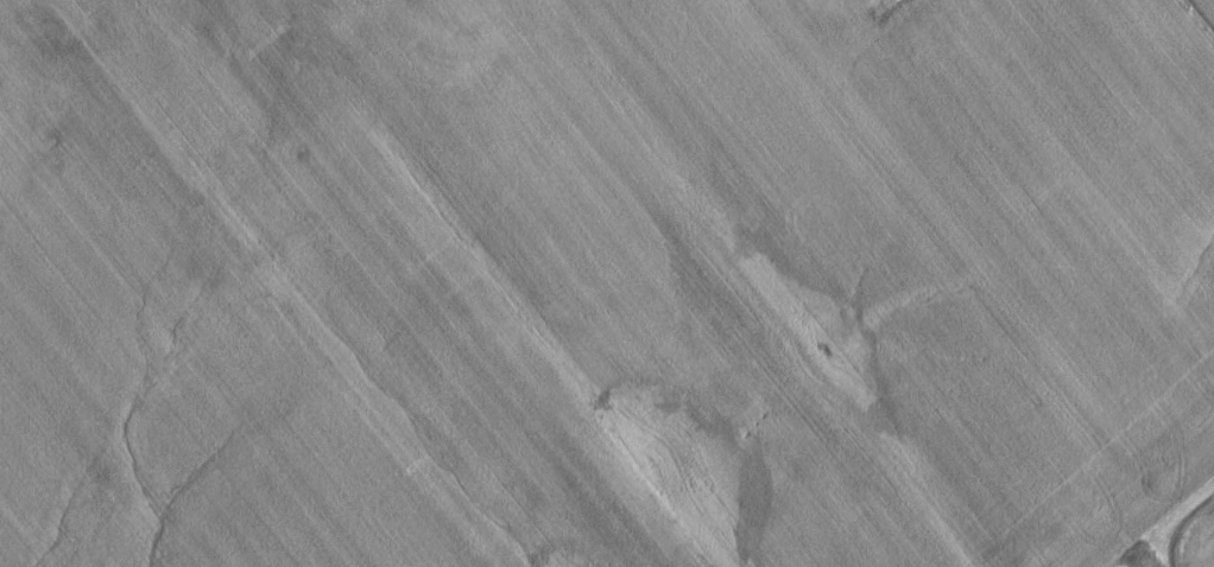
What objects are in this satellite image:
road: (1183, 529)

